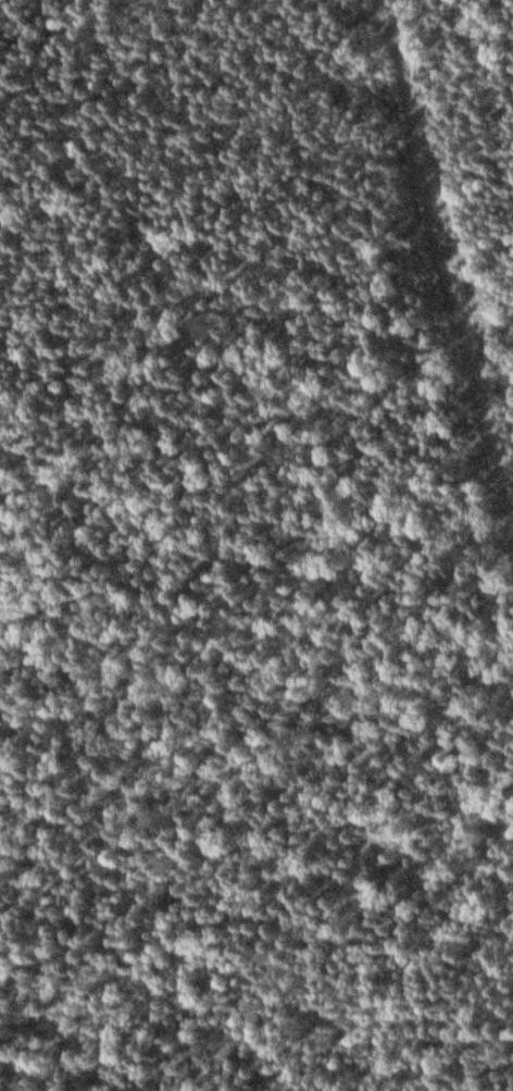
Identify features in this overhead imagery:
road: (449, 235)

